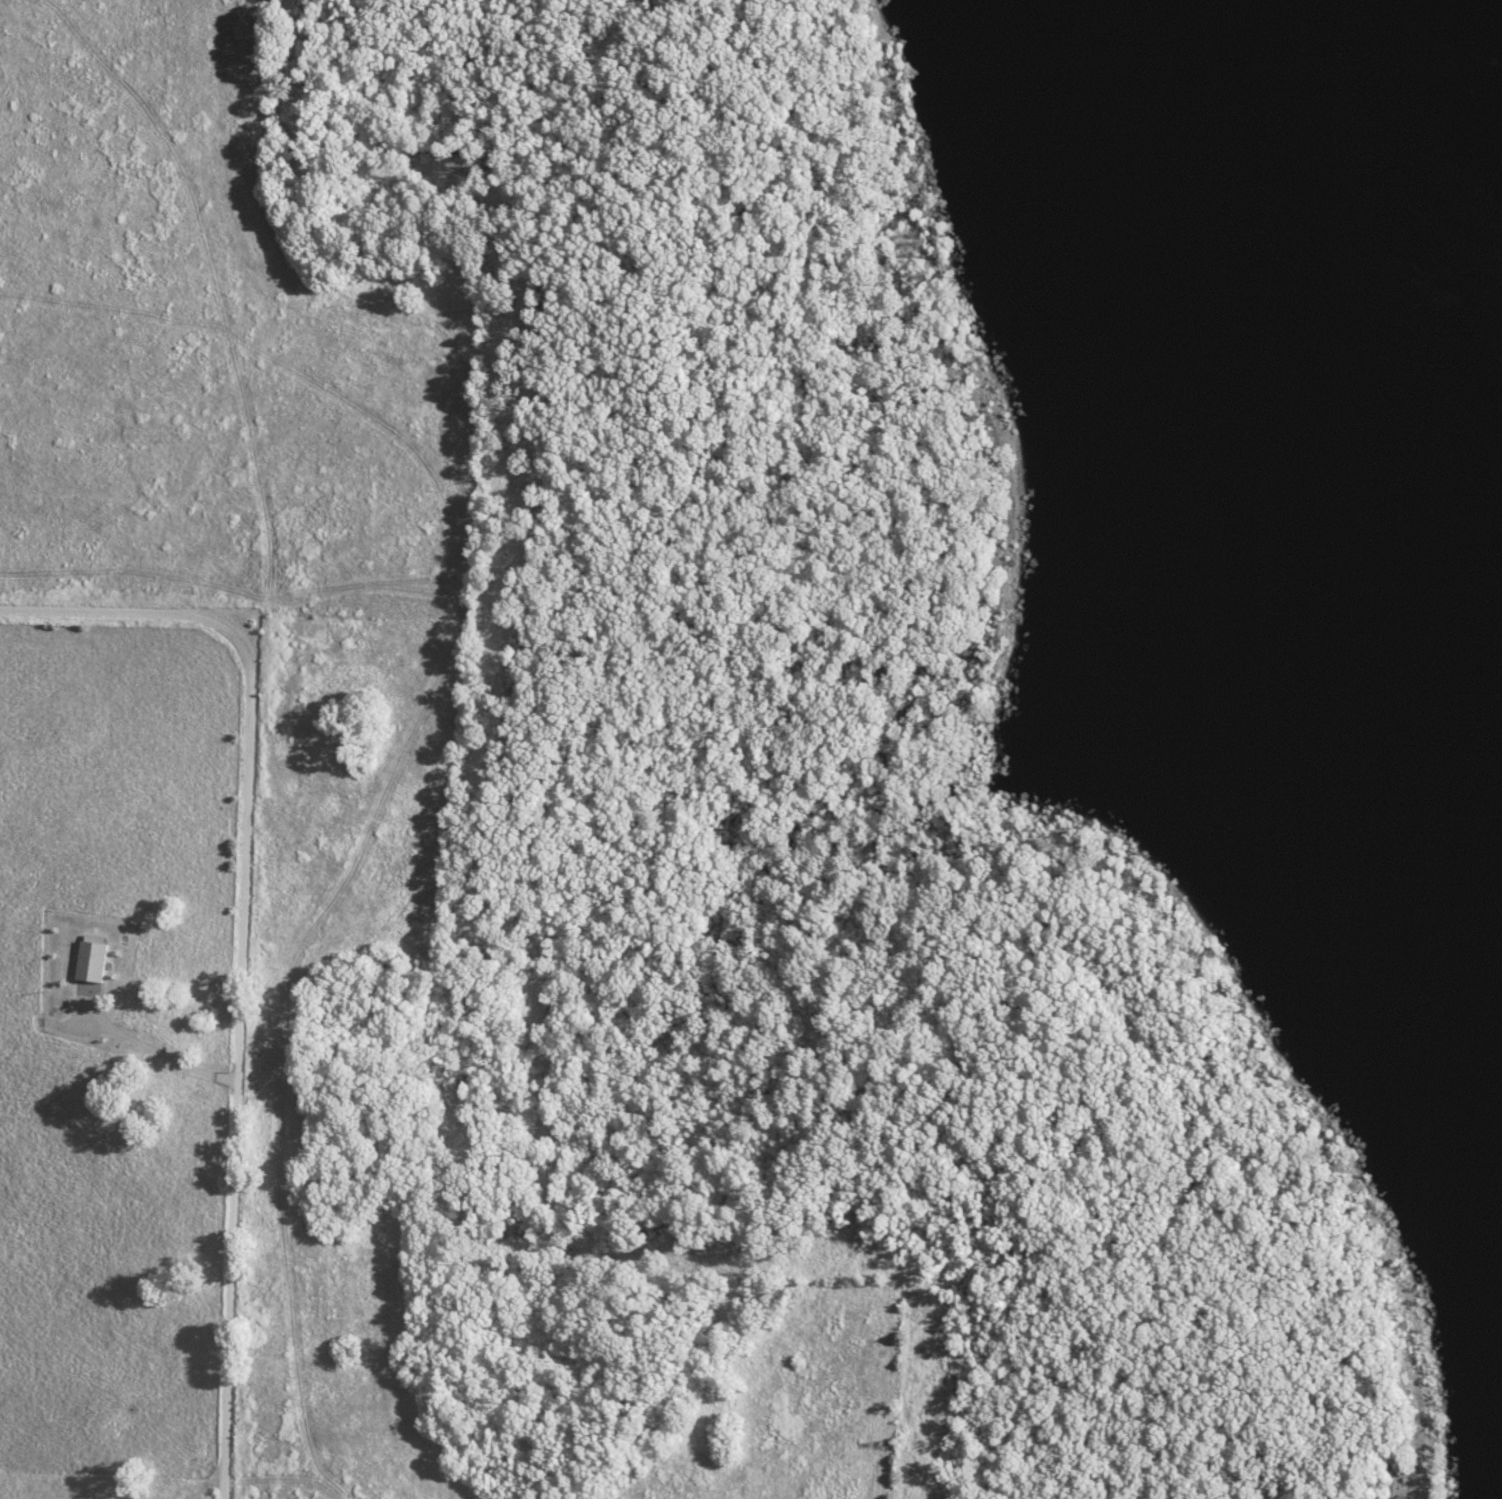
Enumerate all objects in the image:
road: (248, 946)

